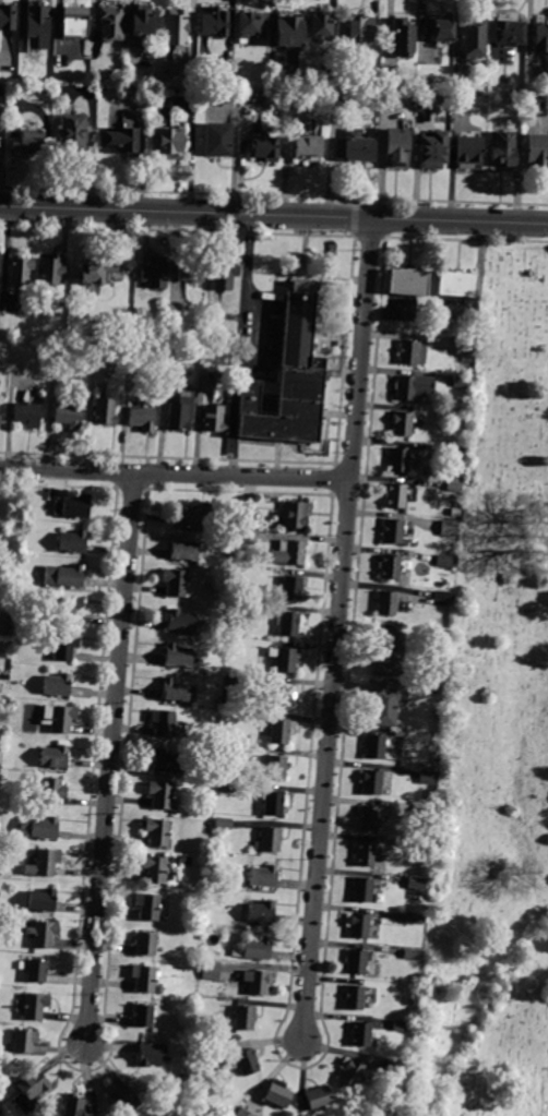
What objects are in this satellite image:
building: (5, 15)
building: (37, 20)
building: (139, 20)
building: (213, 22)
building: (74, 23)
building: (109, 23)
building: (250, 24)
building: (319, 24)
building: (176, 26)
building: (438, 27)
building: (360, 28)
building: (287, 29)
building: (509, 32)
building: (401, 37)
building: (474, 37)
building: (540, 37)
building: (330, 72)
building: (393, 83)
building: (458, 86)
building: (389, 103)
building: (426, 103)
building: (463, 104)
building: (501, 127)
building: (72, 134)
building: (25, 140)
building: (120, 140)
building: (217, 140)
building: (166, 143)
building: (354, 146)
building: (263, 147)
building: (308, 147)
building: (394, 147)
building: (502, 148)
building: (536, 149)
building: (431, 151)
building: (468, 152)
road: (273, 215)
building: (20, 271)
building: (53, 271)
building: (95, 271)
building: (191, 271)
building: (154, 273)
building: (225, 276)
building: (408, 283)
building: (456, 284)
building: (298, 320)
road: (240, 346)
building: (465, 348)
building: (413, 355)
building: (461, 382)
building: (412, 387)
building: (249, 397)
building: (291, 403)
building: (104, 411)
building: (26, 413)
building: (68, 416)
building: (464, 416)
building: (141, 417)
building: (177, 417)
building: (214, 419)
building: (402, 424)
building: (457, 451)
building: (397, 459)
road: (174, 475)
building: (454, 487)
building: (395, 495)
building: (72, 506)
building: (189, 515)
building: (295, 515)
building: (247, 519)
building: (449, 528)
building: (393, 531)
building: (247, 538)
building: (72, 541)
building: (182, 549)
building: (288, 553)
building: (445, 561)
building: (390, 566)
building: (63, 575)
building: (177, 583)
building: (291, 587)
building: (442, 599)
building: (386, 603)
building: (68, 609)
building: (180, 621)
building: (285, 624)
road: (337, 629)
building: (231, 641)
building: (64, 647)
building: (388, 648)
building: (179, 656)
building: (284, 659)
building: (235, 680)
building: (56, 684)
building: (175, 691)
building: (282, 696)
building: (217, 703)
building: (382, 705)
building: (438, 715)
building: (57, 717)
building: (163, 722)
park: (495, 728)
building: (281, 730)
building: (374, 746)
building: (52, 756)
road: (109, 757)
building: (165, 761)
building: (275, 767)
building: (224, 773)
building: (212, 775)
building: (428, 777)
building: (371, 781)
building: (226, 788)
building: (51, 791)
building: (160, 794)
building: (273, 803)
building: (426, 813)
building: (368, 818)
building: (224, 824)
building: (39, 828)
building: (157, 831)
building: (270, 839)
building: (419, 848)
building: (365, 853)
building: (44, 863)
building: (154, 868)
building: (263, 876)
building: (417, 883)
building: (362, 890)
building: (41, 900)
building: (147, 905)
building: (261, 912)
building: (414, 919)
building: (357, 924)
building: (41, 933)
building: (146, 944)
building: (253, 949)
building: (414, 955)
building: (355, 961)
building: (35, 971)
building: (211, 971)
building: (143, 977)
building: (258, 981)
building: (353, 997)
building: (34, 1005)
building: (142, 1016)
building: (245, 1017)
building: (401, 1027)
building: (360, 1033)
building: (23, 1040)
building: (205, 1040)
building: (151, 1055)
building: (245, 1061)
building: (393, 1069)
building: (352, 1071)
building: (31, 1092)
building: (277, 1094)
building: (123, 1097)
building: (318, 1097)
building: (73, 1105)
building: (243, 1113)

